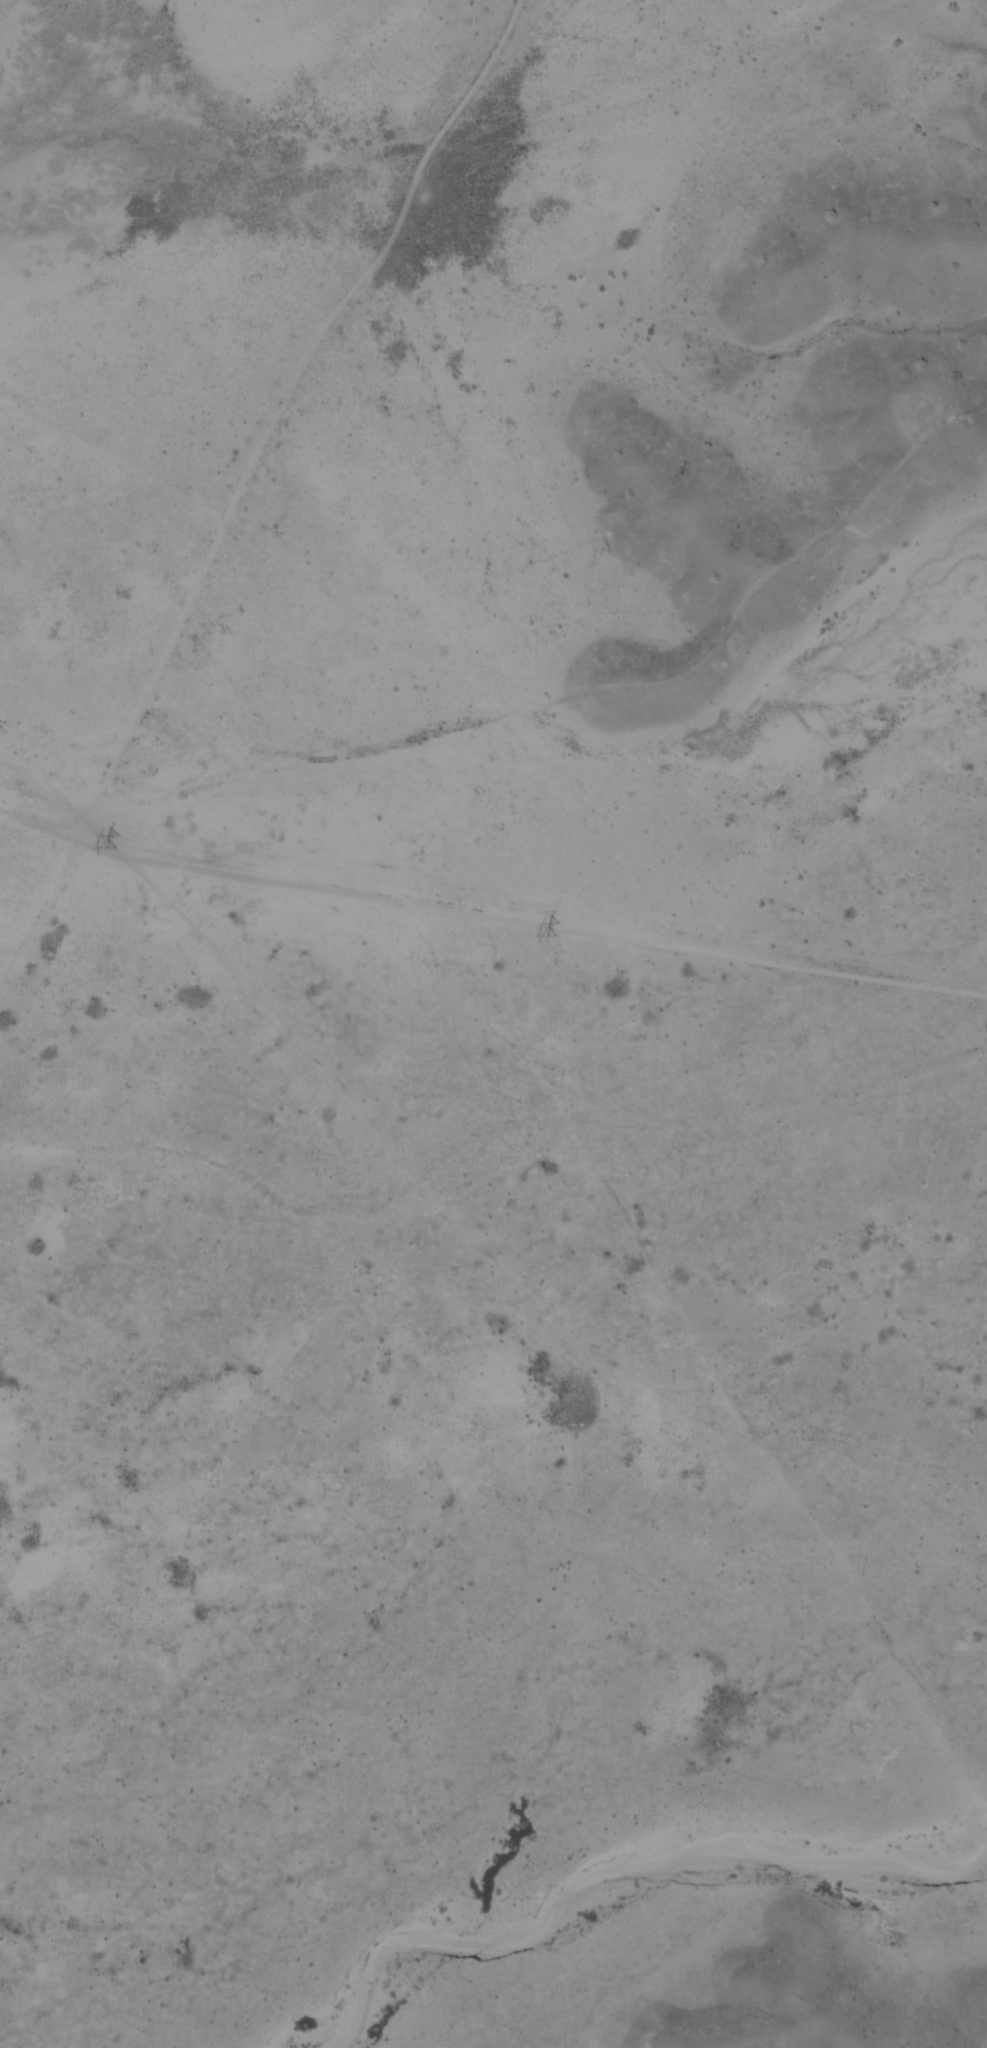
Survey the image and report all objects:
road: (247, 484)
power tower: (113, 842)
power tower: (555, 930)

